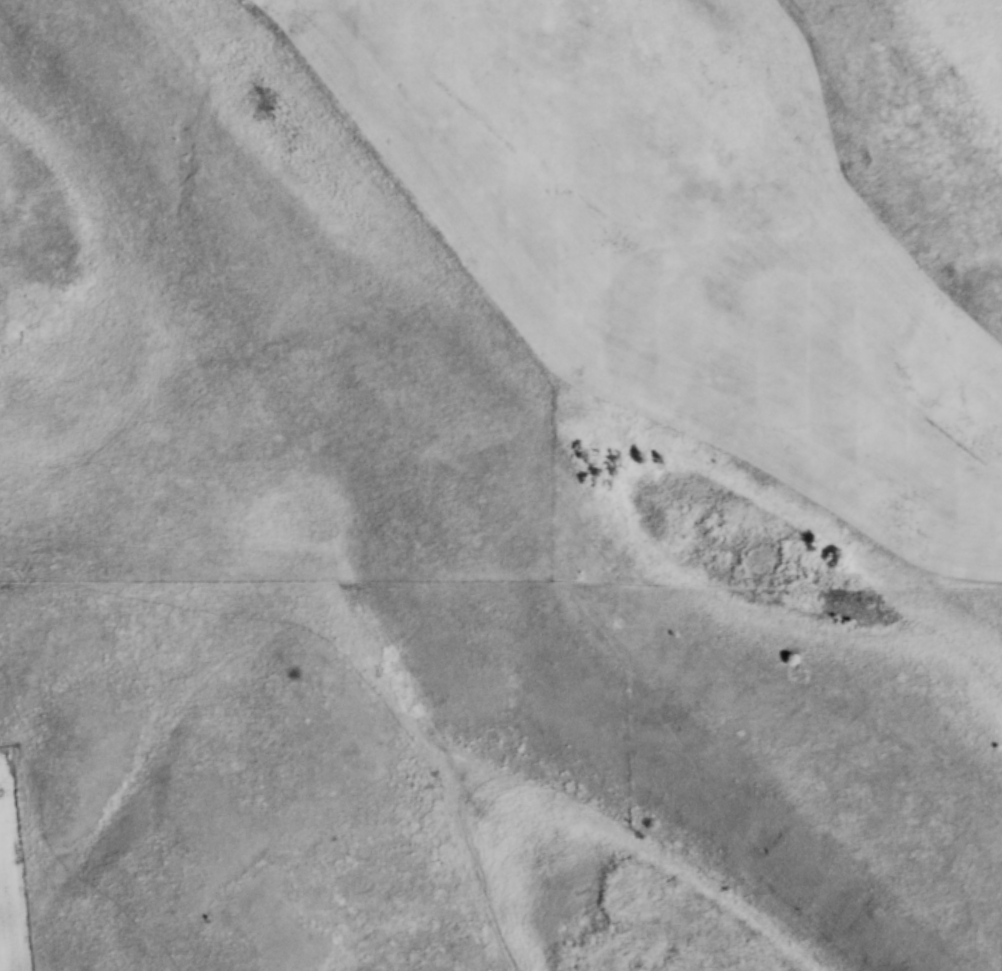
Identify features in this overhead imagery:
river: (589, 939)

